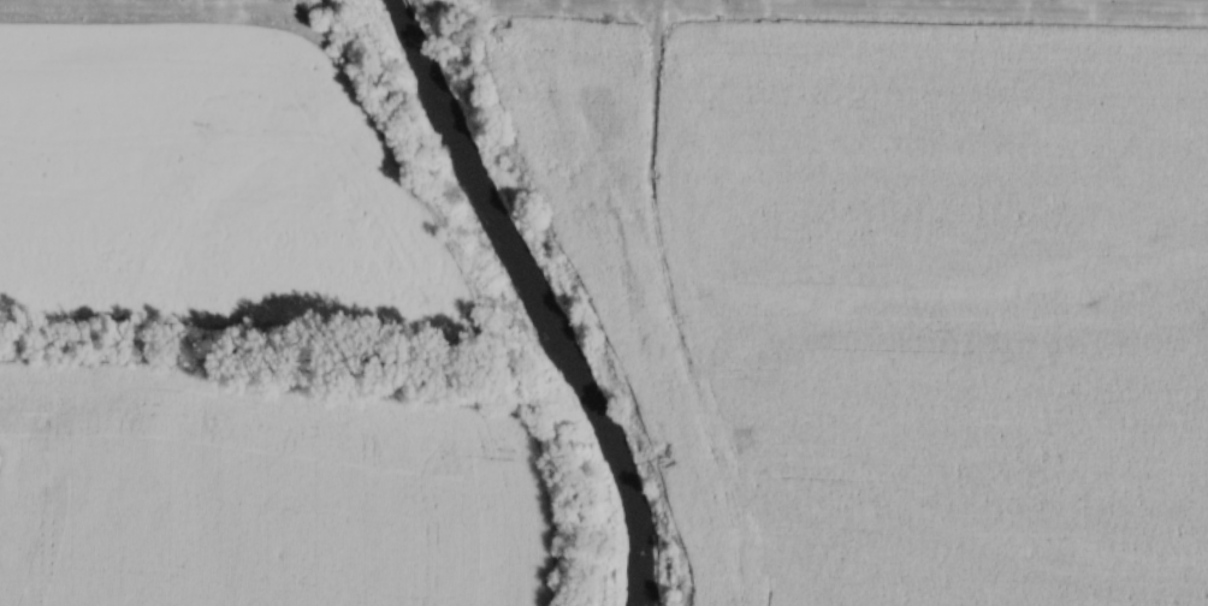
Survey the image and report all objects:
river: (538, 292)
building: (43, 528)

